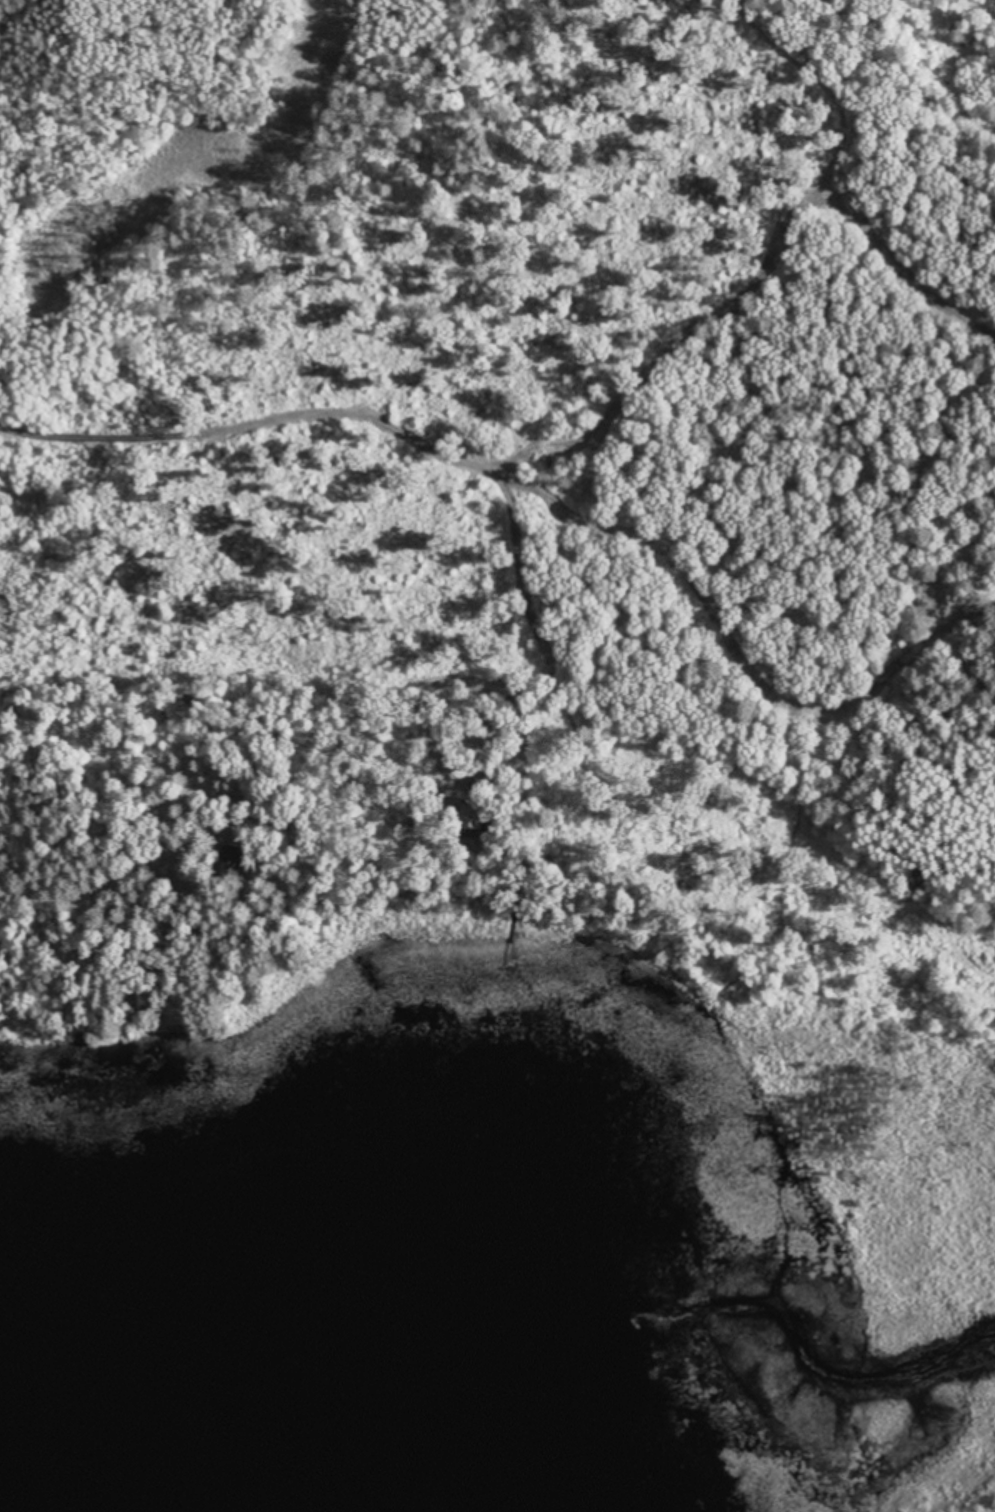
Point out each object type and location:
road: (13, 19)
building: (482, 814)
building: (235, 857)
road: (72, 869)

